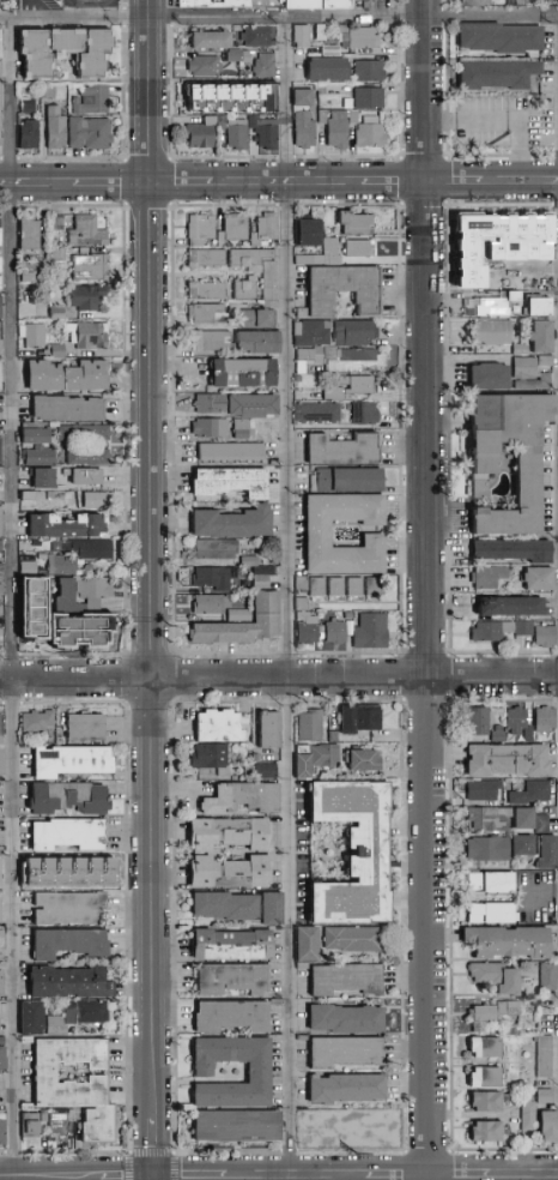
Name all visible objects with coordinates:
building: (171, 2)
building: (188, 2)
building: (201, 2)
building: (223, 2)
building: (254, 2)
building: (517, 2)
building: (477, 4)
road: (90, 5)
building: (303, 5)
building: (335, 5)
road: (154, 8)
road: (29, 10)
road: (279, 18)
building: (322, 32)
building: (260, 37)
building: (303, 37)
building: (359, 38)
building: (501, 38)
building: (213, 41)
building: (67, 42)
building: (1, 44)
building: (333, 52)
building: (37, 55)
building: (97, 55)
building: (236, 56)
building: (267, 66)
building: (207, 67)
building: (330, 70)
building: (1, 71)
building: (370, 72)
building: (498, 76)
building: (323, 90)
building: (49, 92)
building: (229, 95)
building: (305, 98)
building: (371, 100)
building: (95, 101)
building: (350, 104)
building: (30, 107)
building: (1, 115)
building: (323, 118)
building: (354, 118)
building: (223, 124)
building: (57, 130)
building: (305, 131)
building: (339, 131)
building: (266, 132)
building: (91, 134)
building: (202, 134)
building: (371, 134)
building: (30, 136)
building: (239, 136)
road: (278, 186)
building: (319, 212)
building: (496, 222)
building: (60, 224)
building: (357, 224)
building: (540, 224)
building: (202, 230)
building: (235, 230)
building: (0, 233)
building: (89, 233)
building: (267, 233)
building: (310, 234)
building: (31, 235)
building: (362, 249)
building: (487, 251)
building: (333, 252)
building: (524, 252)
building: (547, 252)
building: (57, 257)
building: (208, 260)
building: (250, 260)
building: (305, 260)
building: (92, 269)
building: (0, 276)
building: (30, 278)
building: (492, 278)
building: (266, 279)
building: (247, 289)
building: (208, 291)
building: (345, 291)
building: (89, 299)
building: (491, 306)
building: (1, 308)
building: (540, 308)
building: (59, 314)
building: (208, 315)
building: (260, 320)
building: (492, 333)
building: (314, 335)
building: (356, 335)
building: (35, 336)
building: (90, 336)
building: (542, 338)
building: (259, 344)
building: (1, 348)
building: (522, 351)
building: (56, 353)
building: (341, 360)
building: (547, 362)
building: (522, 366)
building: (245, 374)
building: (69, 378)
building: (1, 379)
building: (491, 379)
building: (353, 389)
building: (217, 404)
building: (68, 411)
building: (245, 413)
building: (320, 414)
building: (274, 415)
building: (366, 415)
building: (211, 428)
building: (269, 428)
building: (245, 429)
building: (85, 434)
building: (40, 448)
building: (346, 451)
building: (0, 452)
building: (232, 453)
building: (90, 458)
building: (530, 465)
building: (86, 477)
building: (46, 480)
building: (348, 482)
building: (232, 484)
building: (34, 499)
building: (91, 501)
building: (1, 525)
building: (235, 525)
building: (69, 529)
building: (320, 543)
building: (1, 547)
building: (86, 549)
building: (217, 550)
building: (515, 553)
building: (250, 559)
road: (152, 562)
building: (63, 566)
building: (30, 571)
building: (265, 572)
building: (1, 573)
building: (490, 578)
building: (540, 579)
building: (214, 580)
building: (36, 584)
building: (262, 584)
building: (303, 585)
building: (319, 589)
building: (338, 589)
building: (357, 589)
building: (375, 589)
road: (429, 589)
building: (2, 591)
building: (97, 592)
road: (12, 598)
road: (292, 598)
building: (69, 600)
building: (213, 604)
building: (512, 608)
building: (241, 618)
building: (37, 619)
building: (1, 622)
building: (245, 626)
building: (56, 627)
building: (95, 628)
building: (309, 630)
building: (526, 630)
building: (338, 633)
building: (372, 633)
building: (493, 633)
building: (546, 638)
road: (278, 679)
building: (360, 717)
building: (481, 720)
building: (546, 720)
building: (517, 721)
building: (41, 724)
building: (1, 726)
building: (310, 726)
building: (219, 727)
building: (86, 728)
building: (271, 729)
building: (499, 734)
building: (333, 737)
building: (2, 741)
building: (325, 755)
building: (212, 758)
building: (362, 759)
building: (72, 760)
building: (509, 760)
building: (1, 763)
building: (302, 763)
building: (262, 771)
building: (485, 790)
building: (535, 793)
building: (68, 799)
building: (243, 799)
building: (526, 819)
building: (491, 820)
building: (544, 824)
building: (71, 835)
building: (524, 845)
building: (490, 849)
building: (200, 853)
building: (352, 853)
building: (548, 853)
building: (0, 871)
building: (71, 872)
building: (492, 883)
building: (226, 907)
building: (69, 909)
building: (274, 909)
building: (0, 911)
building: (493, 914)
building: (2, 934)
building: (354, 939)
building: (509, 943)
building: (69, 944)
building: (235, 945)
building: (309, 945)
building: (497, 977)
building: (548, 977)
building: (233, 980)
building: (347, 980)
building: (68, 983)
building: (1, 985)
building: (492, 1015)
building: (78, 1016)
building: (233, 1017)
building: (32, 1019)
building: (347, 1019)
building: (512, 1031)
building: (2, 1042)
building: (485, 1048)
building: (347, 1053)
building: (545, 1056)
building: (2, 1060)
building: (260, 1070)
building: (486, 1078)
building: (78, 1085)
building: (347, 1089)
building: (546, 1097)
building: (487, 1102)
building: (46, 1116)
building: (529, 1116)
building: (62, 1125)
building: (550, 1126)
building: (239, 1127)
building: (31, 1128)
building: (366, 1128)
building: (2, 1131)
building: (308, 1133)
building: (486, 1133)
road: (153, 1142)
road: (42, 1174)
road: (119, 1174)
road: (186, 1174)
road: (290, 1174)
road: (395, 1174)
road: (462, 1174)
road: (527, 1174)
traffic signals: (153, 1175)
road: (153, 1178)

